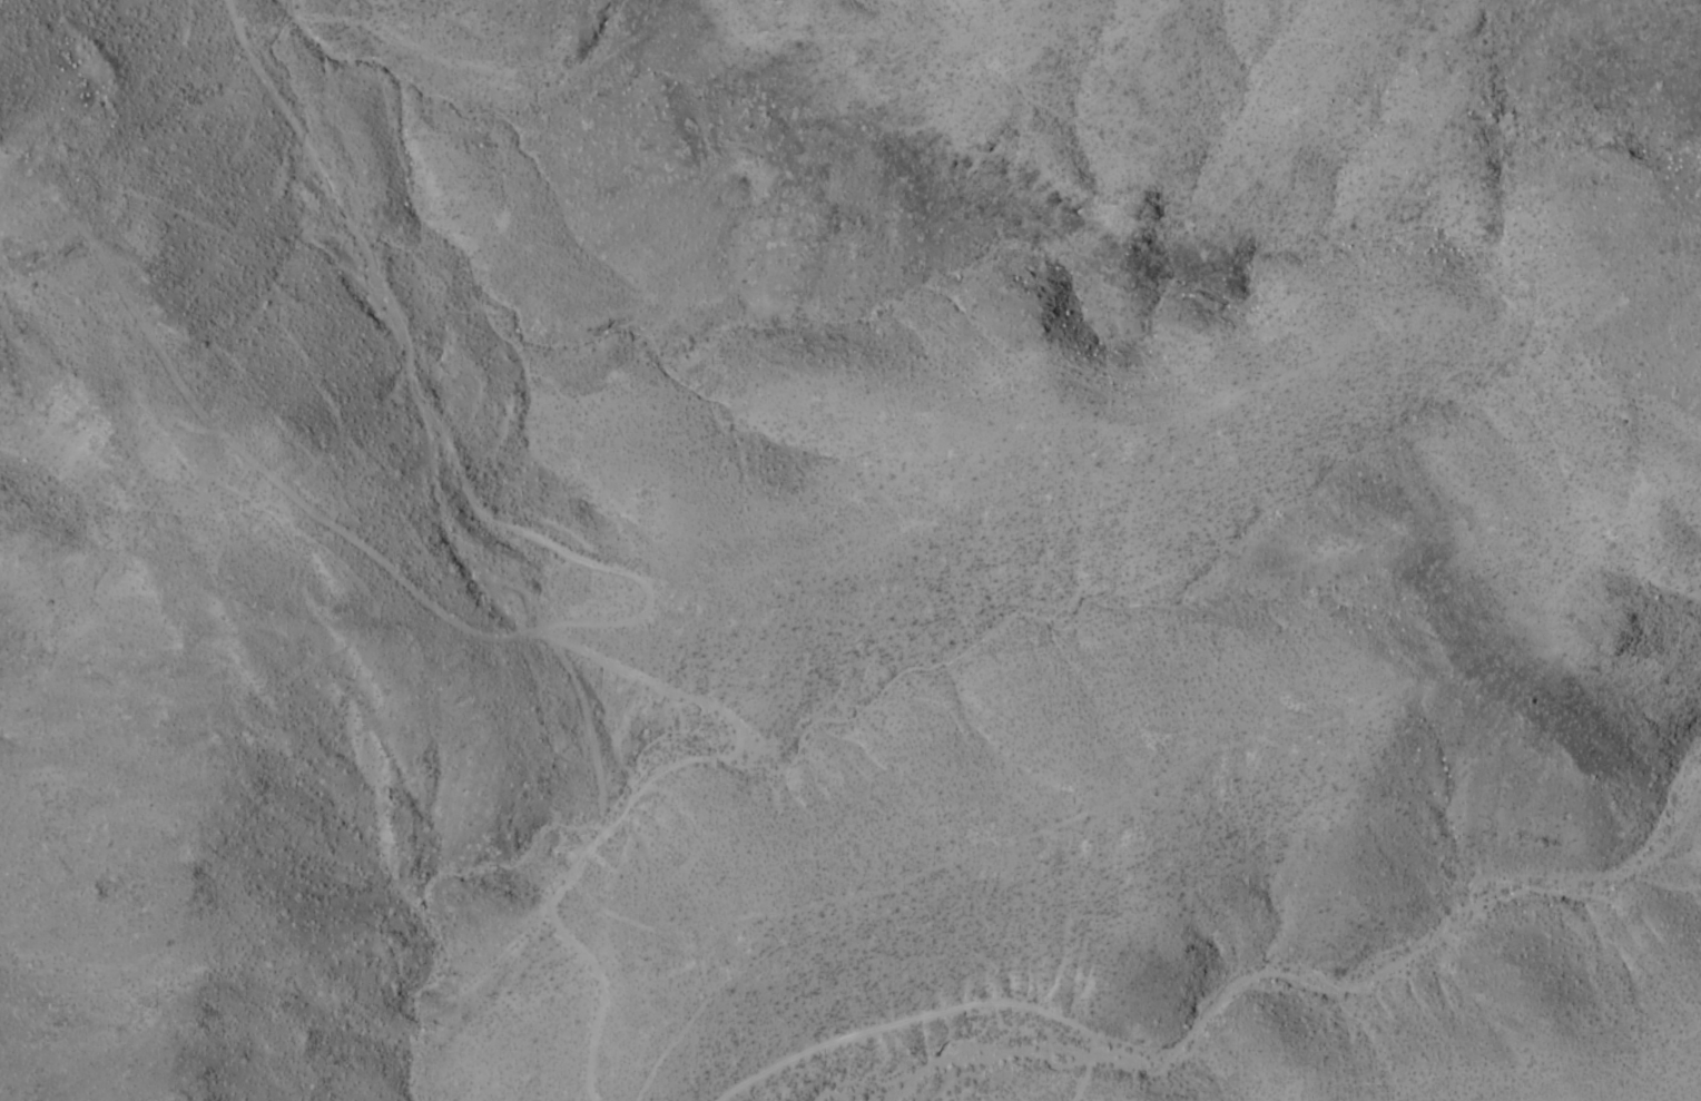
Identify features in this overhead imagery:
road: (639, 616)
road: (640, 787)
road: (944, 1016)

